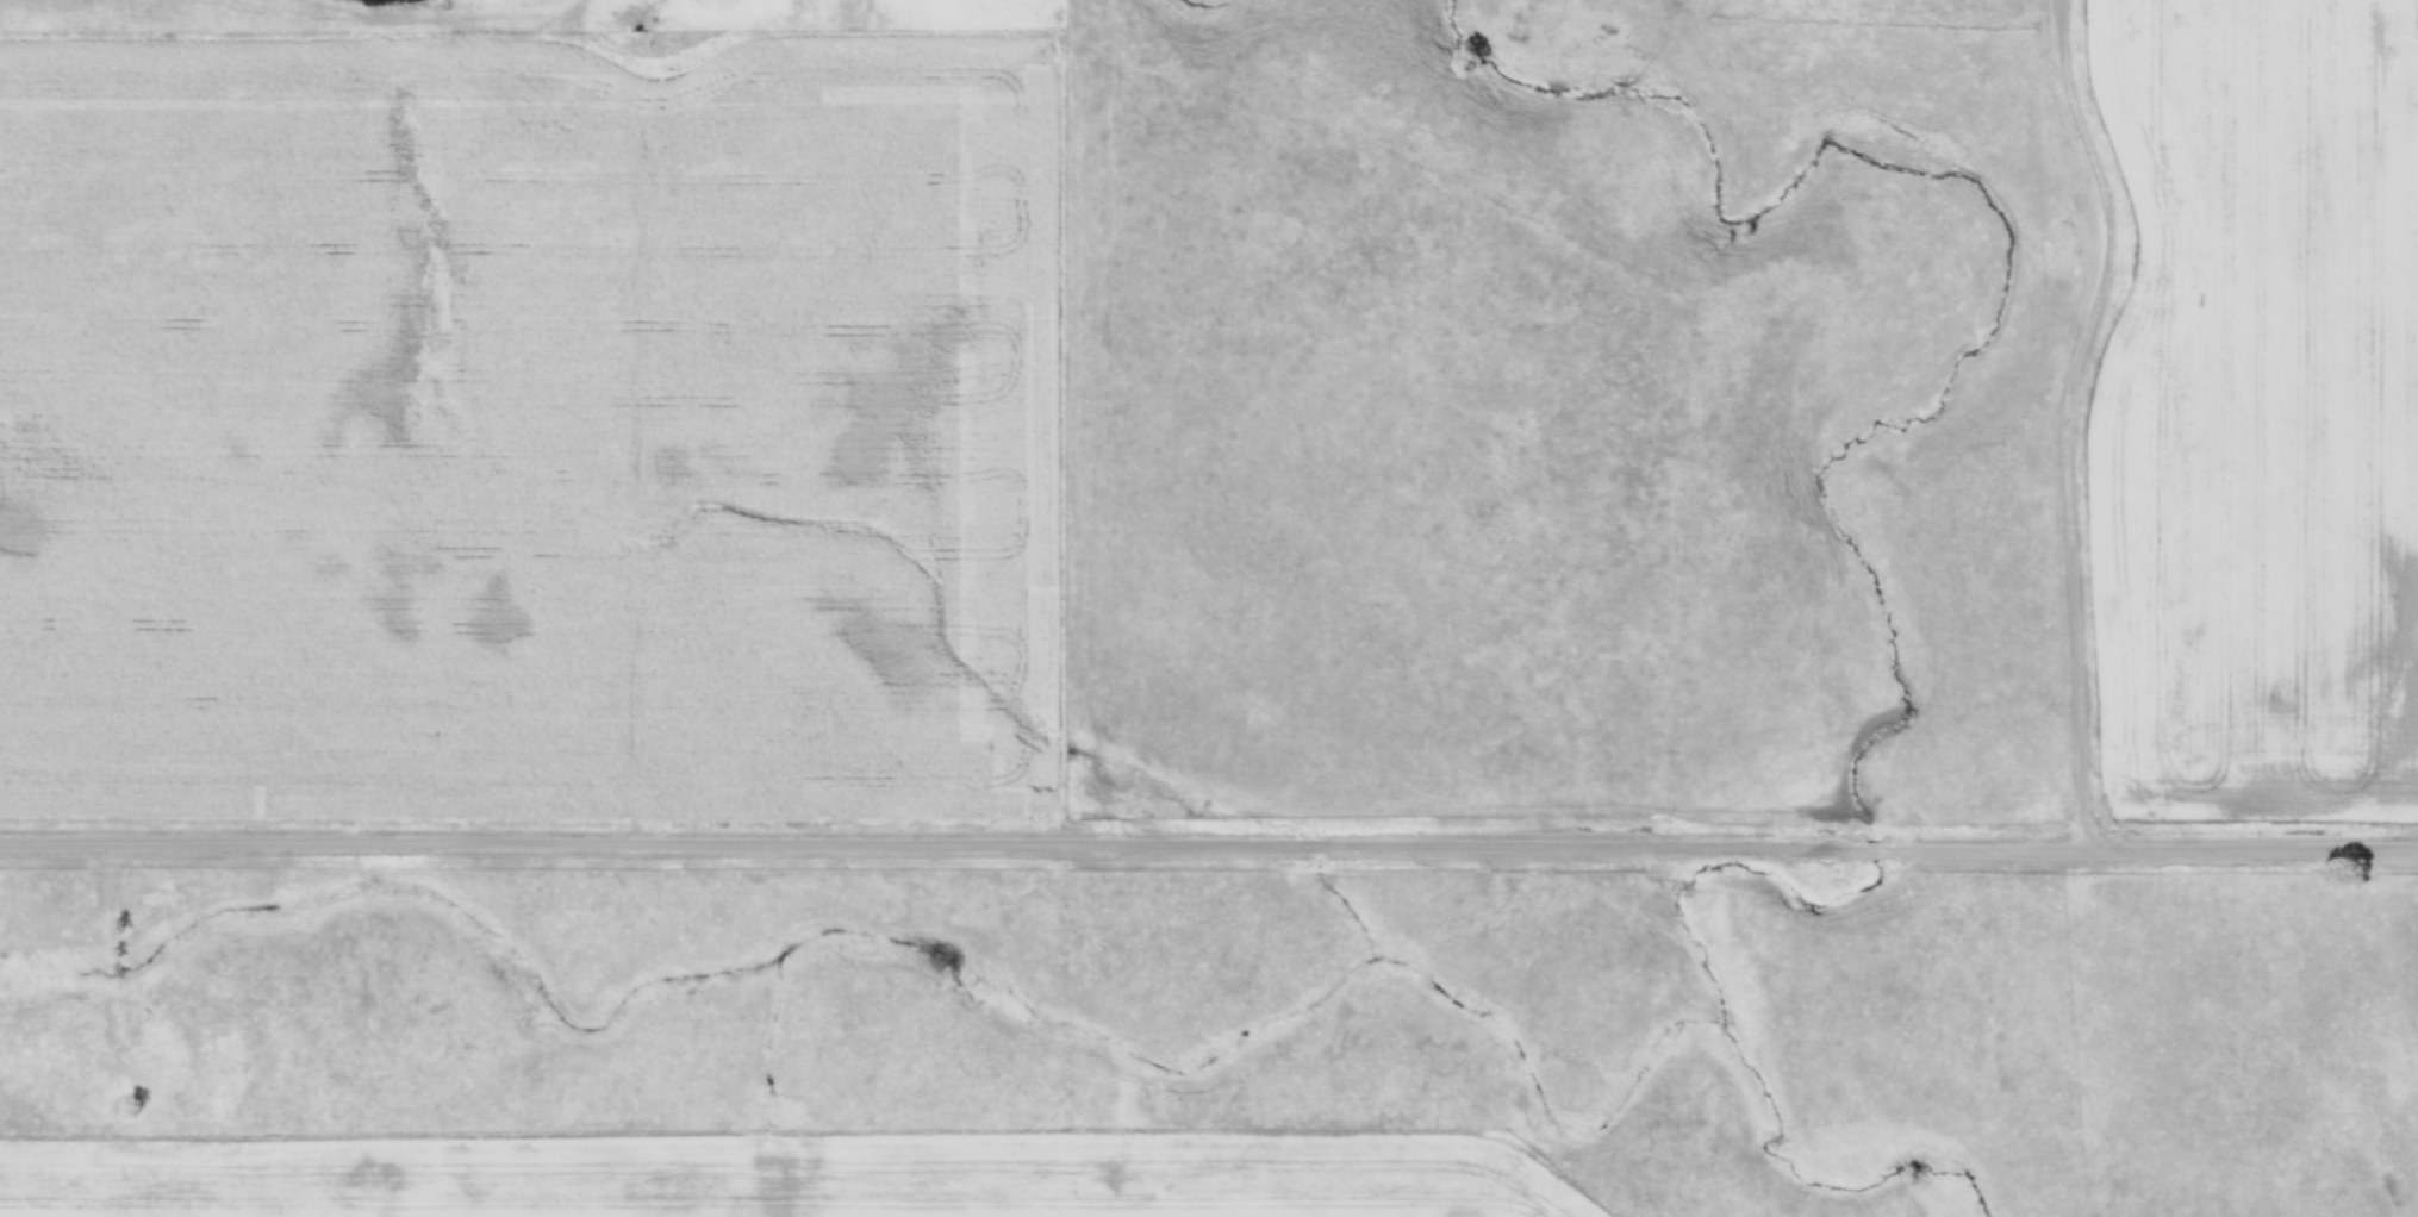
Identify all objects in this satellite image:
building: (715, 1)
road: (2057, 413)
road: (1209, 835)

